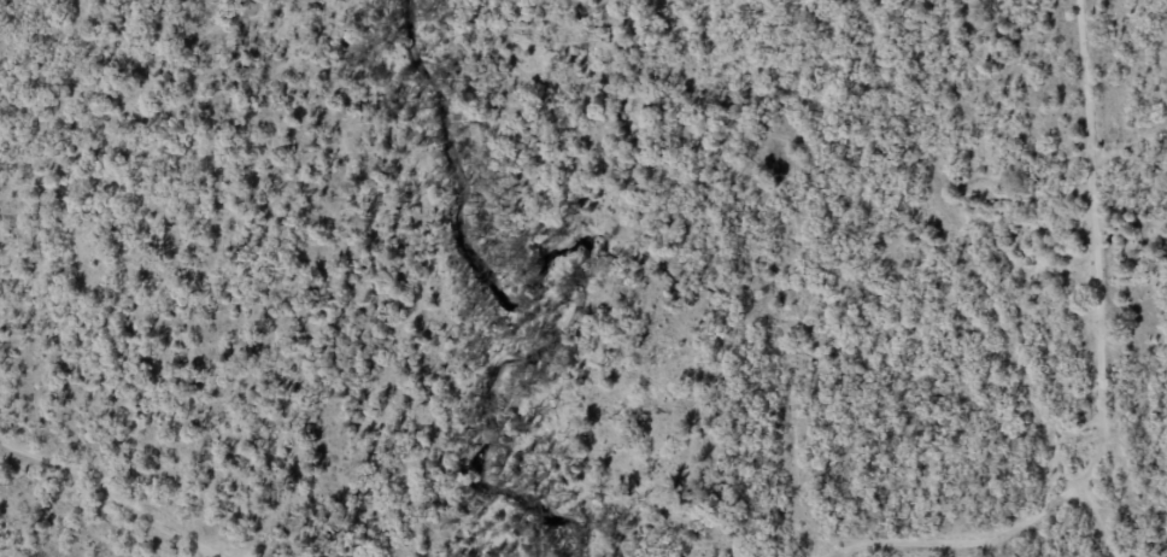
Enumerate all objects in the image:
road: (1022, 282)

